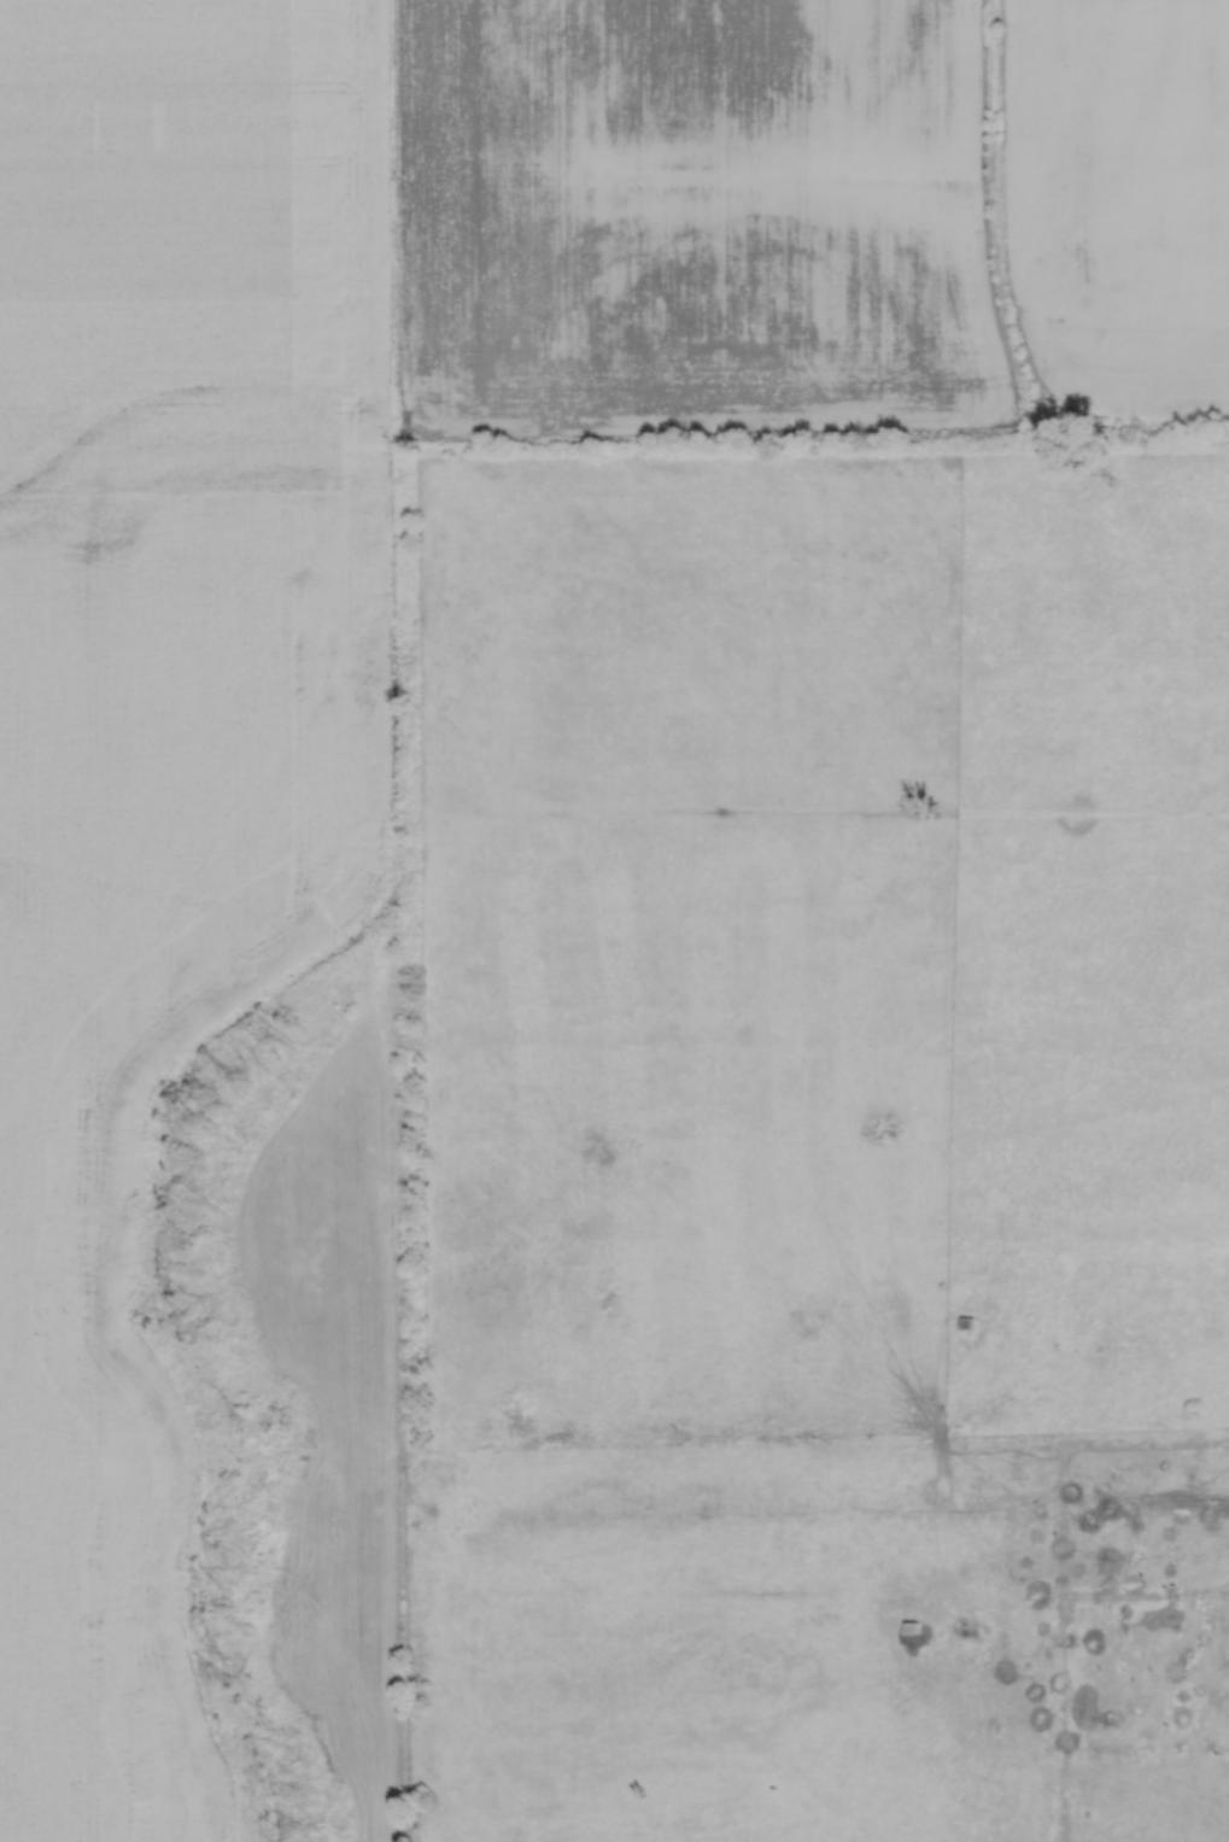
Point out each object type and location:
crop: (1108, 201)
crop: (192, 212)
crop: (689, 215)
crop: (144, 1030)
building: (965, 1322)
building: (908, 1627)

